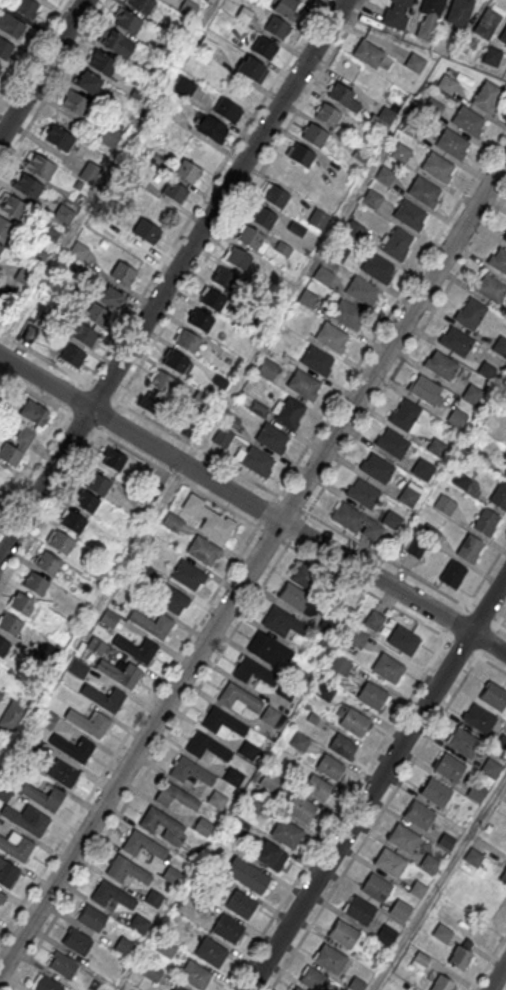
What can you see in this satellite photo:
building: (142, 5)
road: (328, 5)
building: (24, 7)
building: (285, 8)
building: (459, 12)
building: (396, 14)
building: (429, 19)
building: (129, 23)
building: (487, 24)
building: (11, 26)
building: (277, 28)
building: (503, 38)
building: (463, 45)
building: (207, 46)
building: (121, 47)
building: (264, 49)
building: (5, 50)
road: (32, 52)
building: (368, 54)
building: (492, 57)
building: (415, 63)
building: (104, 65)
building: (0, 66)
building: (0, 67)
road: (42, 69)
building: (251, 69)
building: (89, 84)
building: (447, 85)
building: (183, 88)
building: (343, 98)
building: (487, 98)
building: (76, 104)
building: (433, 108)
building: (227, 111)
building: (328, 116)
building: (381, 120)
building: (468, 122)
building: (211, 128)
building: (415, 130)
building: (314, 136)
building: (109, 137)
building: (61, 140)
building: (452, 145)
building: (401, 154)
building: (302, 156)
building: (39, 166)
building: (437, 168)
building: (187, 172)
building: (89, 173)
building: (385, 176)
building: (30, 188)
road: (206, 191)
building: (175, 192)
building: (423, 192)
building: (276, 197)
building: (372, 200)
building: (13, 208)
building: (64, 215)
road: (232, 215)
building: (409, 216)
building: (263, 218)
building: (318, 220)
building: (296, 229)
building: (6, 230)
building: (354, 230)
building: (147, 232)
building: (504, 238)
building: (252, 240)
building: (397, 245)
building: (1, 249)
building: (283, 249)
building: (79, 251)
building: (338, 253)
building: (35, 257)
building: (237, 259)
building: (498, 262)
building: (377, 269)
building: (124, 274)
building: (23, 276)
road: (172, 276)
building: (323, 276)
building: (226, 280)
building: (490, 289)
building: (362, 291)
building: (109, 297)
building: (308, 299)
building: (214, 301)
road: (391, 311)
building: (97, 314)
building: (347, 315)
building: (470, 315)
building: (201, 321)
building: (83, 333)
building: (29, 334)
building: (332, 338)
building: (188, 342)
building: (456, 342)
building: (500, 347)
road: (407, 354)
building: (73, 355)
building: (317, 361)
building: (176, 363)
building: (440, 366)
road: (58, 367)
building: (268, 370)
building: (486, 371)
building: (219, 380)
building: (163, 383)
building: (303, 385)
building: (425, 392)
road: (34, 394)
building: (472, 395)
building: (149, 401)
building: (258, 408)
building: (35, 413)
building: (288, 413)
building: (405, 417)
building: (457, 419)
building: (231, 421)
building: (190, 429)
road: (98, 432)
building: (222, 438)
building: (272, 439)
building: (392, 444)
building: (17, 447)
road: (197, 448)
building: (436, 448)
building: (114, 460)
building: (254, 462)
road: (34, 468)
building: (376, 469)
building: (422, 470)
building: (505, 473)
building: (505, 475)
building: (460, 480)
building: (151, 483)
building: (98, 485)
building: (363, 494)
building: (409, 495)
building: (499, 497)
building: (87, 503)
road: (253, 504)
building: (444, 506)
building: (209, 520)
building: (391, 521)
building: (356, 522)
building: (74, 523)
building: (171, 523)
building: (485, 523)
building: (429, 533)
building: (61, 543)
building: (418, 549)
building: (469, 550)
building: (203, 551)
road: (252, 563)
building: (48, 564)
building: (96, 572)
building: (305, 574)
road: (486, 575)
building: (188, 576)
building: (452, 576)
building: (35, 584)
building: (298, 599)
building: (171, 600)
building: (24, 606)
road: (406, 614)
building: (109, 618)
building: (375, 618)
building: (282, 624)
building: (151, 625)
building: (10, 626)
building: (326, 628)
building: (357, 638)
building: (403, 642)
building: (96, 646)
building: (3, 648)
building: (136, 650)
building: (268, 650)
building: (341, 667)
building: (387, 670)
building: (253, 673)
building: (119, 674)
building: (285, 691)
building: (325, 693)
building: (0, 696)
building: (372, 697)
building: (493, 698)
building: (104, 699)
building: (238, 700)
building: (269, 716)
building: (11, 717)
building: (47, 720)
road: (178, 720)
building: (478, 720)
building: (89, 723)
building: (354, 723)
building: (222, 725)
road: (128, 732)
building: (299, 743)
building: (463, 744)
building: (73, 748)
building: (342, 748)
building: (206, 750)
building: (248, 751)
building: (329, 768)
building: (449, 769)
building: (490, 769)
building: (190, 771)
building: (63, 774)
building: (233, 778)
building: (270, 782)
road: (377, 782)
building: (317, 788)
building: (4, 793)
building: (476, 793)
building: (436, 794)
building: (175, 795)
building: (44, 797)
road: (347, 799)
building: (217, 801)
building: (254, 805)
road: (383, 809)
building: (301, 810)
building: (419, 816)
building: (27, 820)
building: (159, 820)
building: (203, 826)
building: (237, 833)
building: (286, 834)
building: (403, 840)
building: (446, 842)
building: (143, 846)
building: (16, 847)
building: (270, 857)
building: (473, 858)
building: (390, 864)
building: (430, 865)
building: (127, 871)
building: (7, 874)
building: (171, 875)
building: (247, 876)
building: (503, 878)
road: (439, 884)
building: (375, 889)
building: (417, 890)
building: (112, 896)
building: (153, 898)
building: (2, 899)
building: (240, 905)
building: (400, 911)
building: (358, 912)
building: (91, 917)
building: (139, 925)
building: (228, 930)
building: (442, 934)
building: (343, 936)
building: (386, 936)
building: (76, 940)
building: (123, 946)
building: (166, 948)
building: (210, 953)
building: (460, 959)
building: (419, 960)
building: (330, 961)
building: (62, 963)
road: (489, 963)
building: (152, 972)
road: (497, 976)
building: (195, 977)
building: (313, 980)
building: (46, 984)
building: (441, 984)
building: (177, 988)
building: (297, 989)

